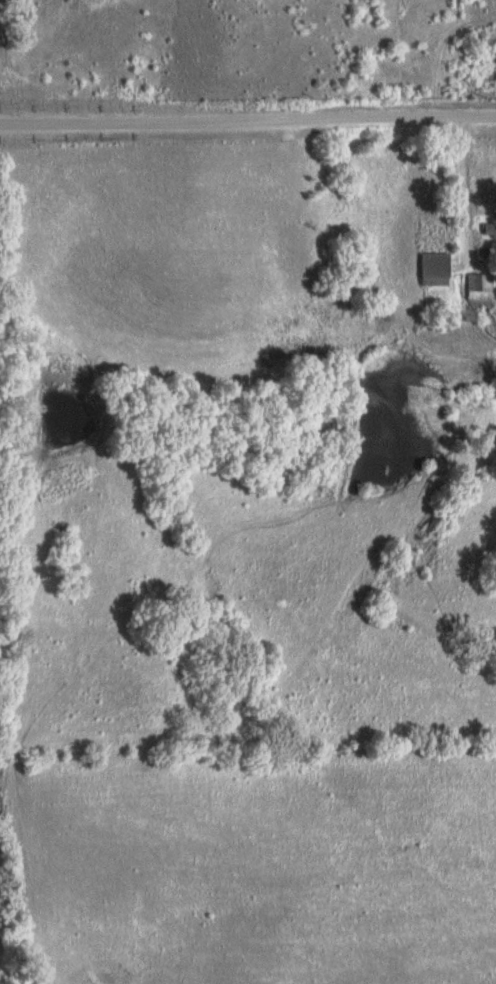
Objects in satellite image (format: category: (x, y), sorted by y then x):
road: (247, 120)
road: (460, 199)
building: (489, 228)
building: (434, 264)
building: (480, 286)

